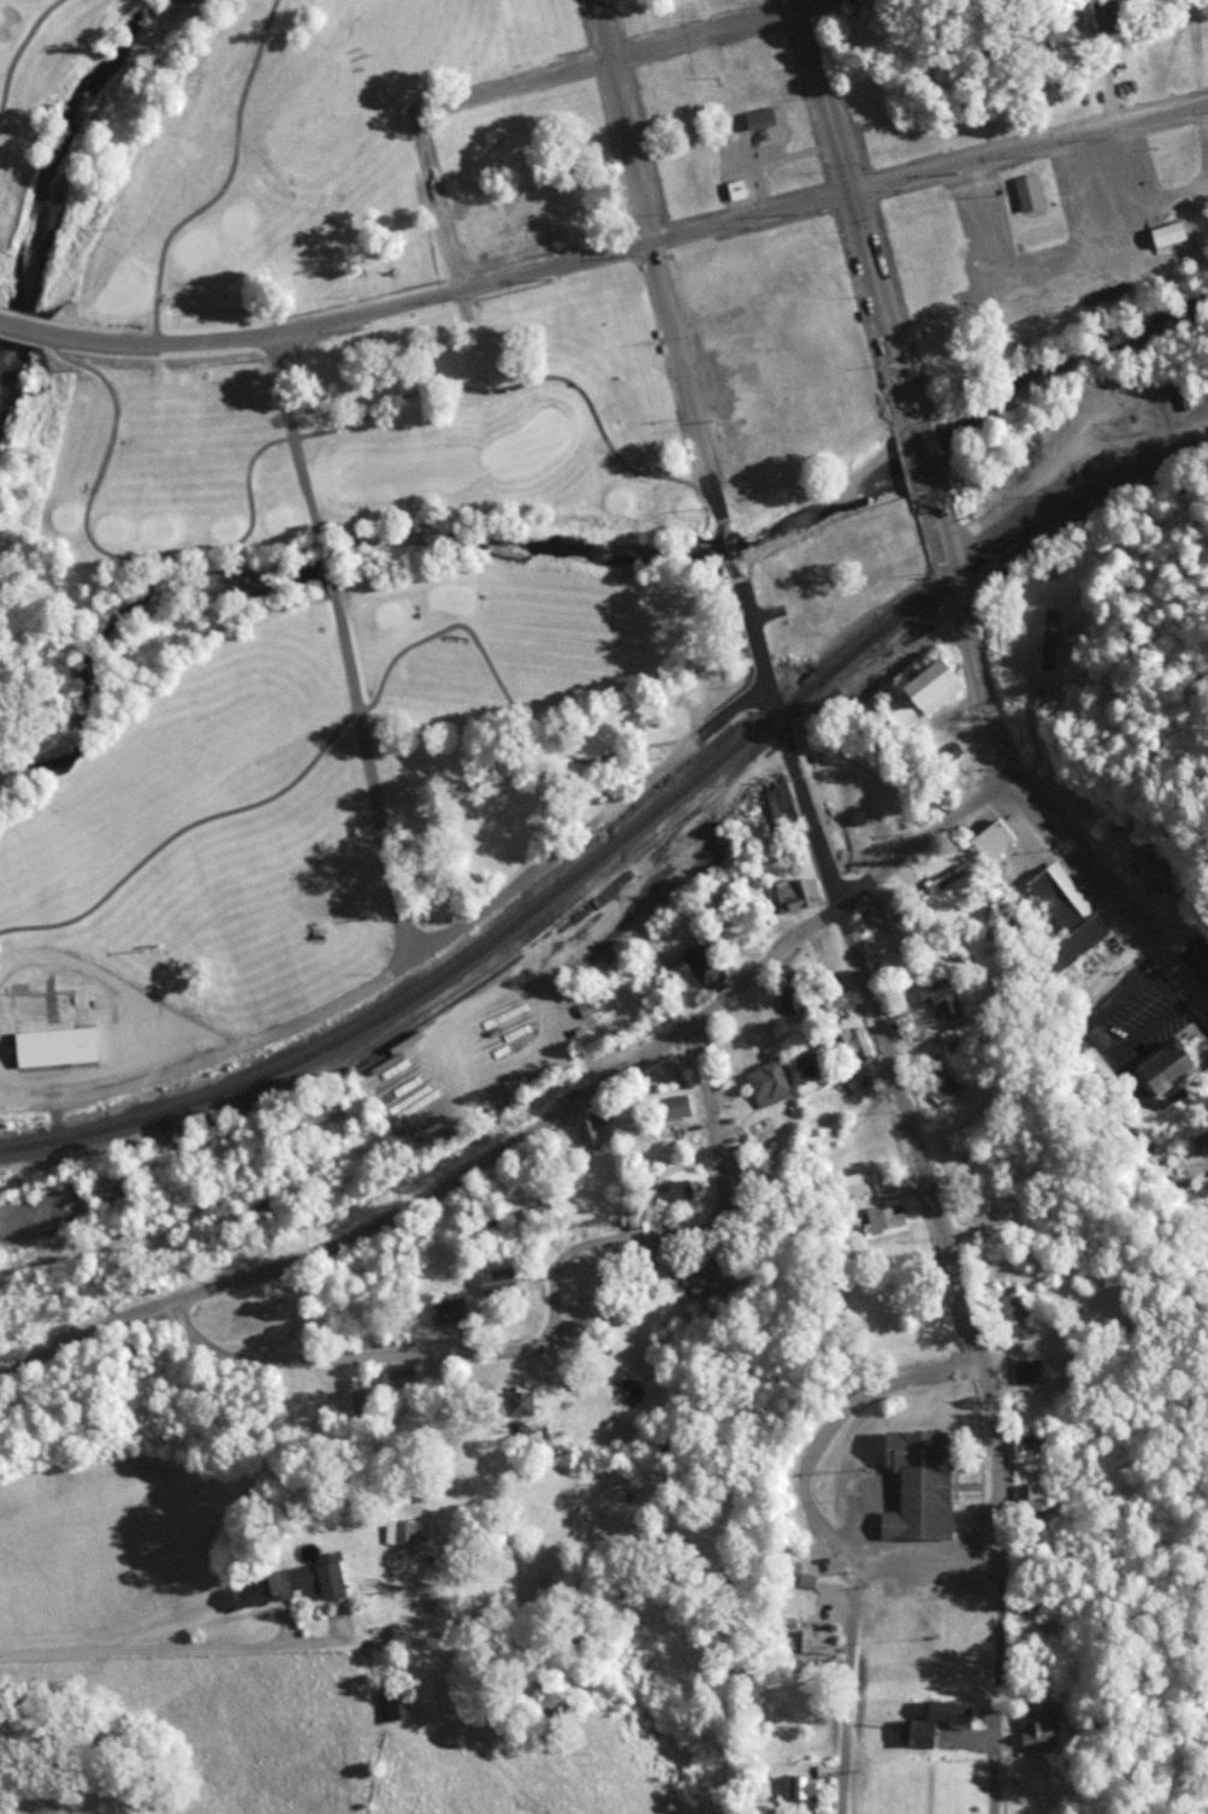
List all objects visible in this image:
building: (823, 0)
building: (841, 0)
building: (1115, 14)
building: (1048, 34)
road: (14, 43)
road: (610, 58)
building: (764, 116)
park: (201, 153)
road: (226, 182)
road: (851, 183)
building: (736, 189)
building: (1032, 191)
road: (439, 201)
building: (1173, 232)
road: (605, 255)
road: (680, 339)
road: (280, 438)
road: (920, 445)
building: (316, 557)
river: (615, 568)
building: (1055, 607)
building: (1054, 636)
road: (350, 648)
park: (322, 650)
building: (926, 691)
road: (368, 708)
road: (1031, 797)
building: (783, 802)
railway: (626, 833)
road: (931, 839)
building: (991, 840)
building: (947, 875)
building: (798, 898)
building: (1068, 918)
road: (416, 957)
building: (704, 962)
building: (787, 997)
building: (942, 999)
building: (848, 1042)
building: (57, 1050)
building: (1172, 1065)
building: (945, 1081)
building: (771, 1082)
building: (677, 1105)
building: (593, 1129)
building: (738, 1177)
road: (443, 1180)
building: (676, 1189)
building: (855, 1190)
building: (884, 1216)
building: (586, 1218)
building: (987, 1218)
road: (945, 1235)
building: (502, 1278)
building: (707, 1280)
building: (449, 1310)
road: (553, 1314)
building: (1031, 1371)
building: (630, 1391)
building: (356, 1395)
building: (531, 1402)
road: (830, 1422)
building: (1040, 1444)
building: (925, 1485)
building: (1031, 1497)
building: (405, 1532)
building: (300, 1582)
building: (905, 1609)
road: (857, 1617)
road: (137, 1642)
building: (816, 1642)
building: (398, 1703)
building: (938, 1719)
building: (1043, 1719)
building: (803, 1790)

